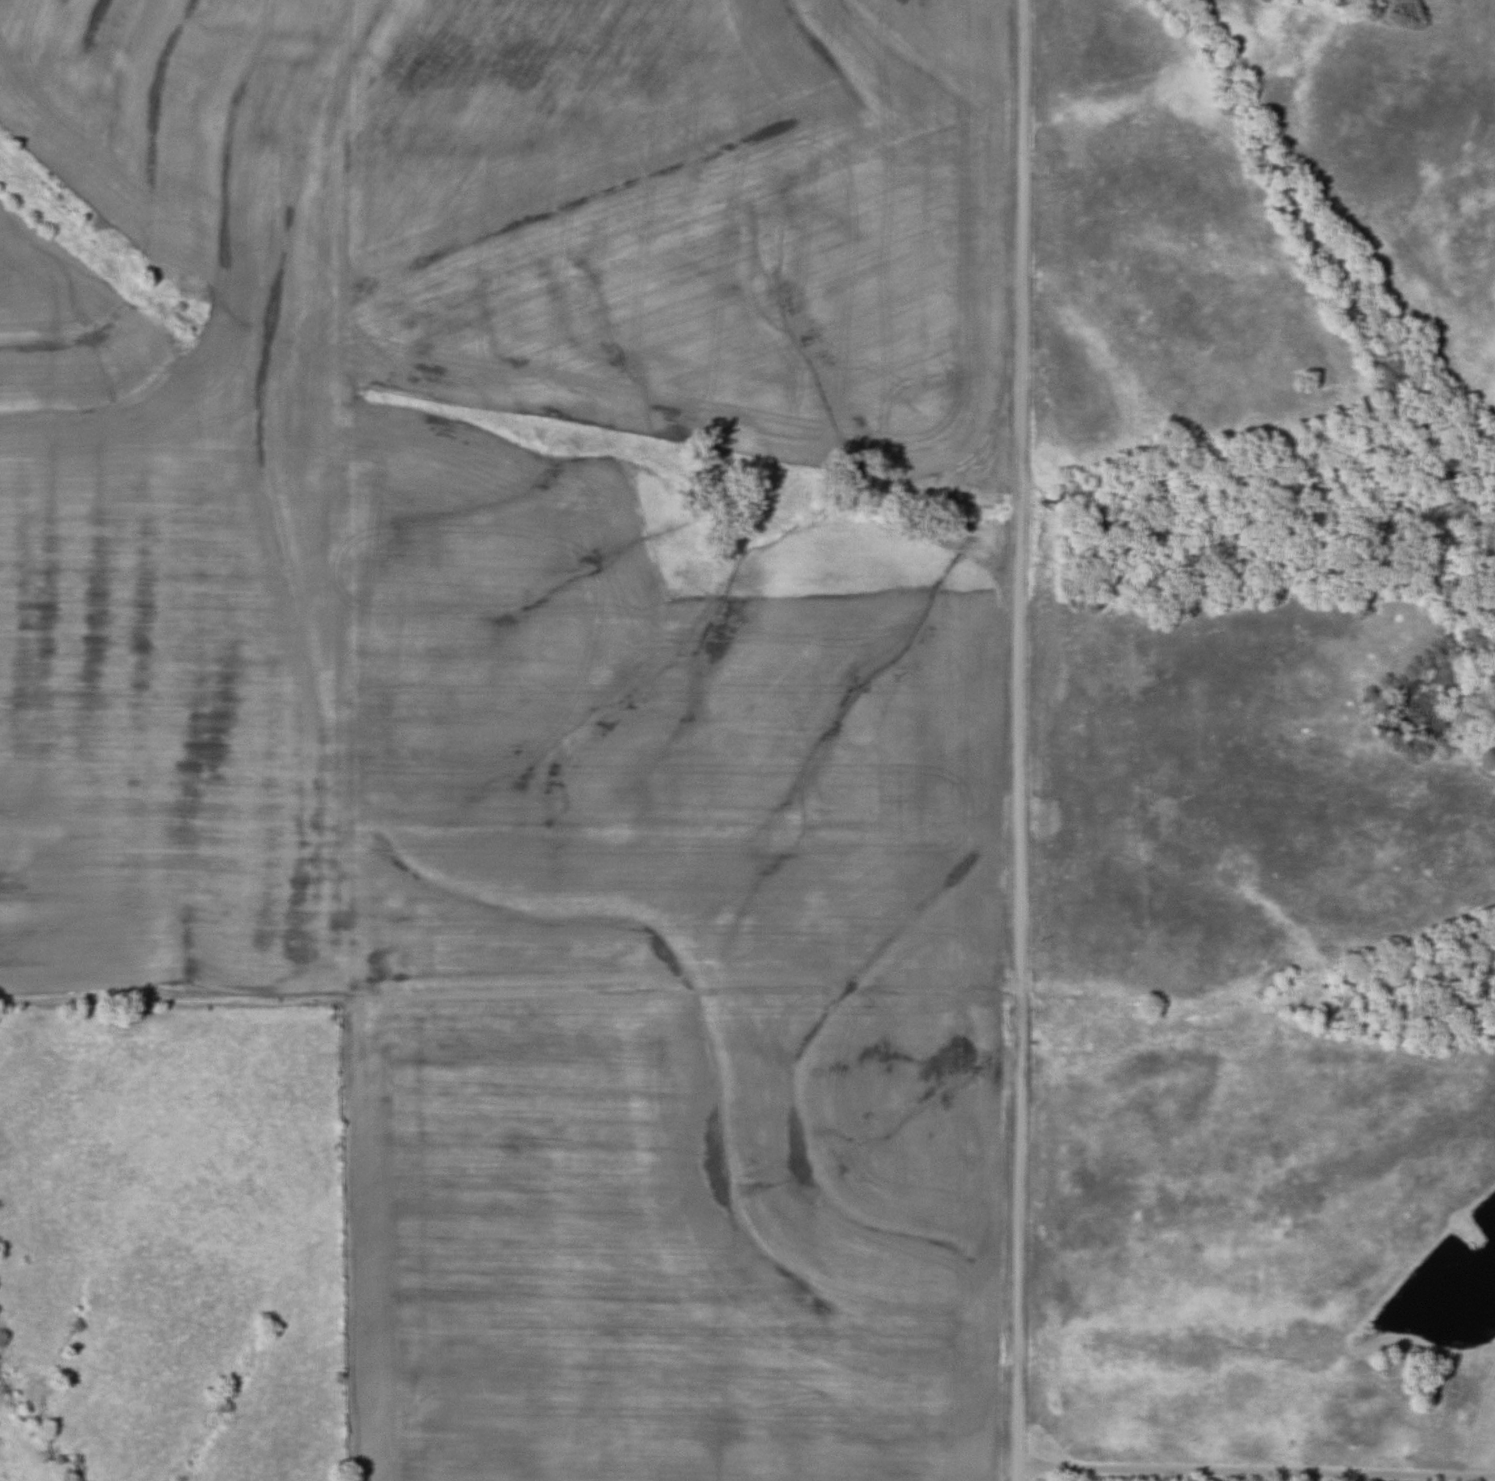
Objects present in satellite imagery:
road: (1020, 740)

